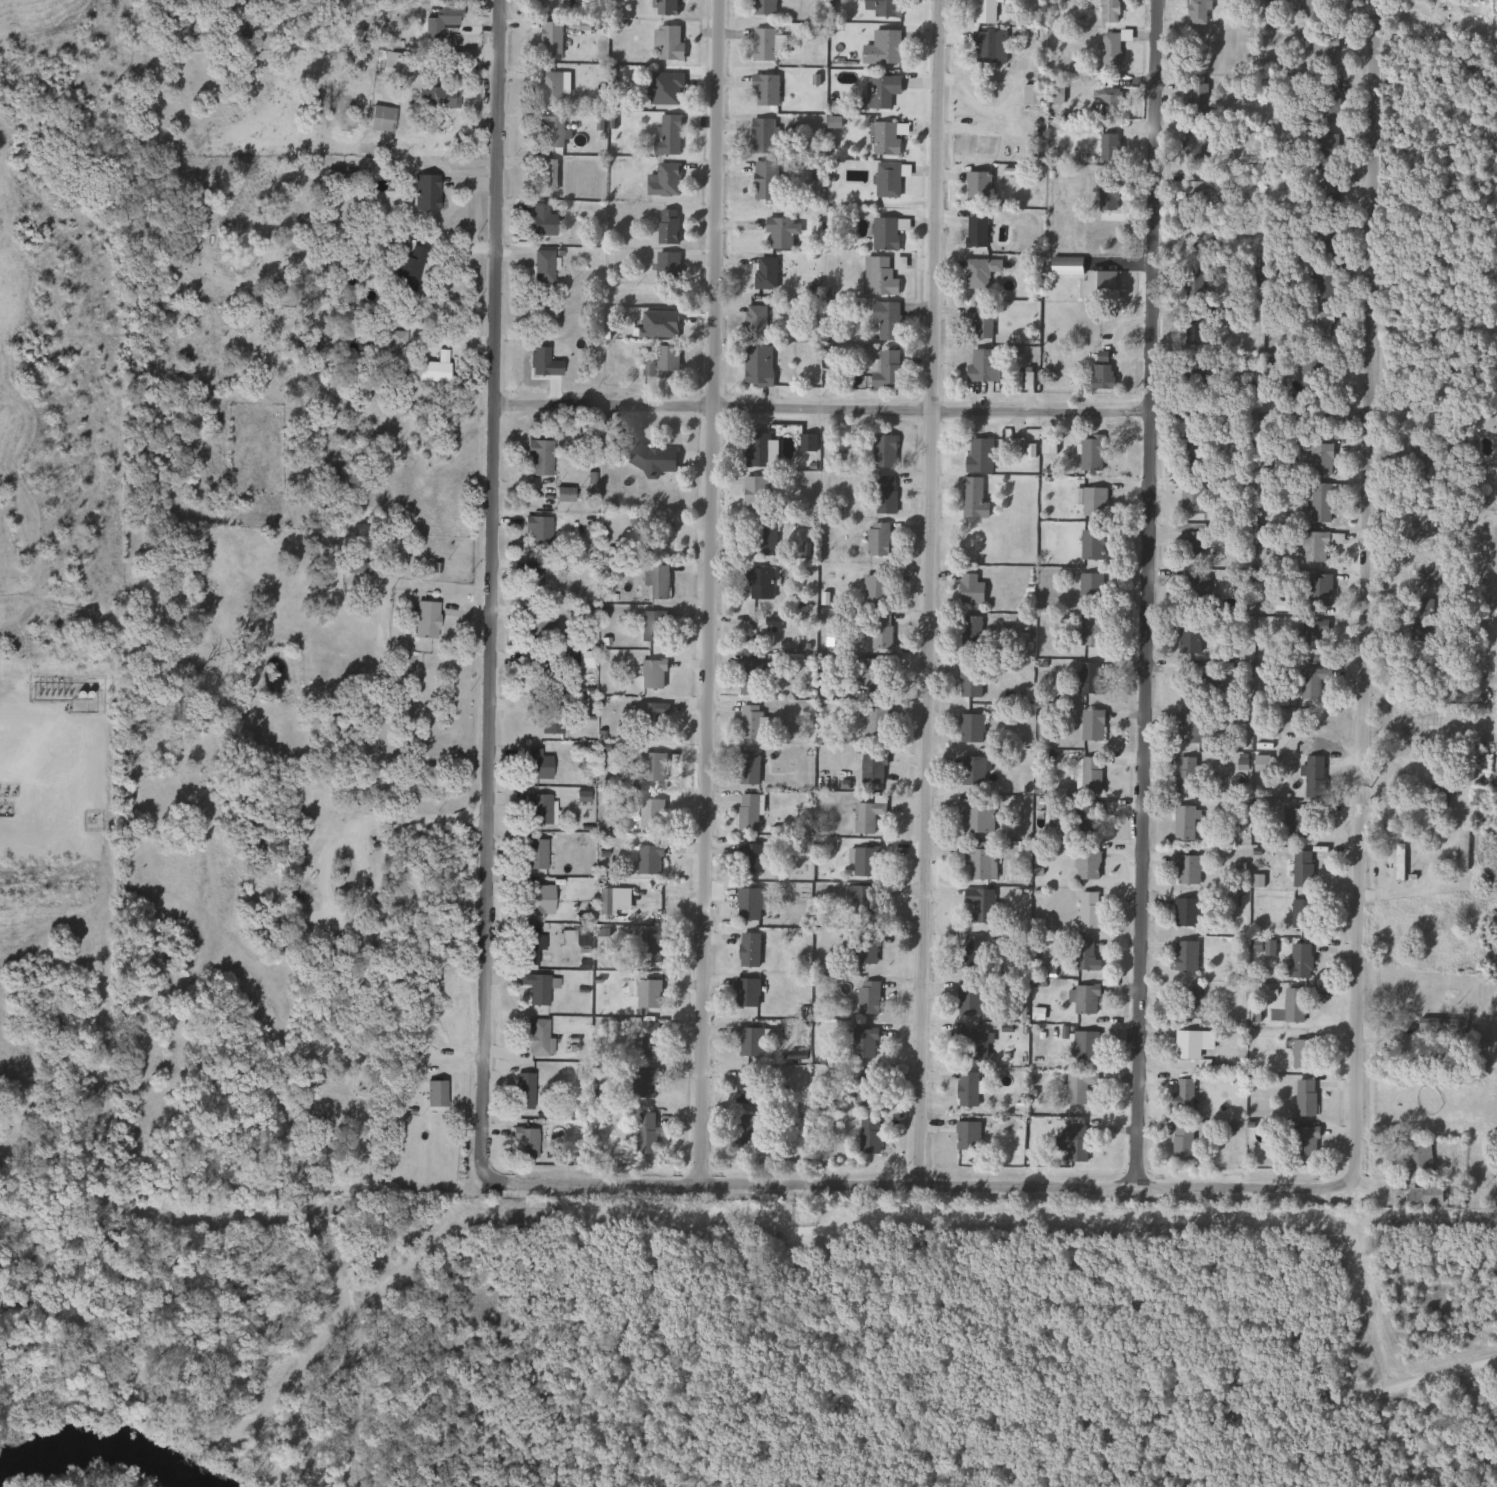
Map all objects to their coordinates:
building: (1220, 0)
building: (553, 5)
building: (762, 7)
building: (885, 8)
building: (1107, 11)
building: (1195, 12)
building: (1314, 12)
building: (438, 21)
building: (549, 39)
building: (666, 42)
building: (762, 45)
building: (987, 47)
building: (879, 48)
building: (1108, 48)
building: (1323, 50)
building: (550, 88)
building: (661, 88)
building: (764, 90)
building: (879, 91)
building: (437, 97)
building: (1106, 99)
building: (1197, 99)
building: (1326, 100)
building: (380, 119)
building: (550, 132)
building: (762, 135)
building: (666, 136)
building: (884, 137)
building: (1106, 146)
building: (1193, 149)
building: (1326, 149)
building: (543, 174)
building: (329, 179)
building: (662, 179)
building: (886, 179)
building: (762, 180)
building: (1328, 183)
building: (975, 185)
building: (423, 192)
building: (1192, 194)
building: (1106, 197)
building: (538, 224)
building: (665, 225)
building: (779, 231)
building: (885, 231)
building: (974, 231)
building: (1203, 239)
building: (1064, 265)
building: (539, 266)
building: (665, 268)
building: (405, 269)
building: (977, 271)
building: (763, 272)
building: (877, 276)
building: (1322, 281)
building: (1097, 283)
building: (1190, 286)
building: (754, 321)
building: (883, 321)
building: (980, 322)
building: (1316, 325)
building: (1190, 330)
building: (302, 344)
building: (389, 350)
building: (662, 362)
building: (756, 365)
building: (981, 365)
building: (884, 369)
building: (430, 371)
building: (1310, 373)
building: (1100, 375)
building: (1192, 378)
road: (929, 410)
building: (1192, 449)
building: (756, 450)
building: (882, 451)
building: (1089, 453)
building: (977, 456)
building: (536, 457)
building: (651, 458)
building: (1319, 458)
building: (562, 494)
building: (753, 494)
building: (883, 494)
building: (971, 499)
building: (1190, 499)
building: (1091, 501)
building: (1320, 502)
building: (536, 530)
building: (638, 537)
building: (764, 537)
building: (876, 539)
building: (1190, 544)
building: (1315, 544)
building: (1090, 545)
building: (530, 579)
building: (652, 582)
building: (757, 582)
building: (1088, 587)
road: (1362, 588)
building: (873, 589)
building: (969, 589)
building: (1194, 589)
building: (1317, 590)
road: (491, 591)
road: (710, 591)
road: (930, 592)
road: (1148, 593)
building: (425, 620)
building: (534, 625)
building: (652, 626)
building: (1089, 630)
building: (969, 633)
building: (1313, 634)
building: (875, 636)
building: (1189, 638)
building: (868, 672)
building: (545, 673)
building: (650, 674)
building: (751, 676)
building: (1089, 679)
building: (968, 681)
building: (1198, 681)
building: (1310, 681)
building: (548, 720)
building: (648, 720)
building: (748, 722)
building: (872, 722)
building: (1090, 725)
building: (1185, 728)
building: (970, 729)
road: (44, 745)
building: (535, 765)
building: (651, 767)
building: (870, 767)
building: (746, 768)
building: (971, 771)
building: (1088, 775)
building: (1184, 775)
building: (1312, 776)
building: (535, 807)
building: (649, 813)
building: (746, 813)
building: (866, 814)
building: (975, 815)
building: (1086, 818)
building: (1182, 822)
building: (1294, 823)
building: (1461, 848)
road: (328, 854)
building: (532, 854)
building: (749, 857)
building: (648, 860)
building: (978, 862)
building: (1397, 862)
building: (863, 863)
building: (1085, 865)
building: (1185, 869)
building: (1300, 869)
building: (534, 900)
building: (605, 901)
building: (857, 903)
building: (747, 904)
building: (978, 905)
building: (1087, 910)
building: (1184, 912)
building: (1301, 913)
building: (527, 946)
building: (646, 949)
building: (863, 949)
building: (748, 950)
building: (972, 953)
building: (1083, 955)
building: (1184, 956)
building: (1299, 961)
building: (536, 987)
building: (745, 992)
building: (646, 993)
building: (867, 998)
building: (1083, 999)
building: (967, 1001)
building: (1188, 1004)
building: (1293, 1005)
building: (1440, 1031)
building: (537, 1038)
building: (647, 1040)
building: (749, 1041)
building: (972, 1042)
building: (1191, 1043)
building: (862, 1044)
building: (1083, 1045)
building: (1302, 1054)
building: (643, 1083)
building: (744, 1086)
building: (1076, 1086)
building: (864, 1088)
building: (965, 1090)
building: (521, 1091)
building: (429, 1092)
building: (1181, 1095)
building: (1304, 1098)
building: (743, 1129)
building: (644, 1134)
building: (867, 1135)
building: (966, 1135)
building: (1180, 1141)
building: (1071, 1142)
building: (523, 1143)
building: (1417, 1160)
road: (923, 1185)
building: (1422, 1196)
road: (1334, 1404)
river: (103, 1445)

